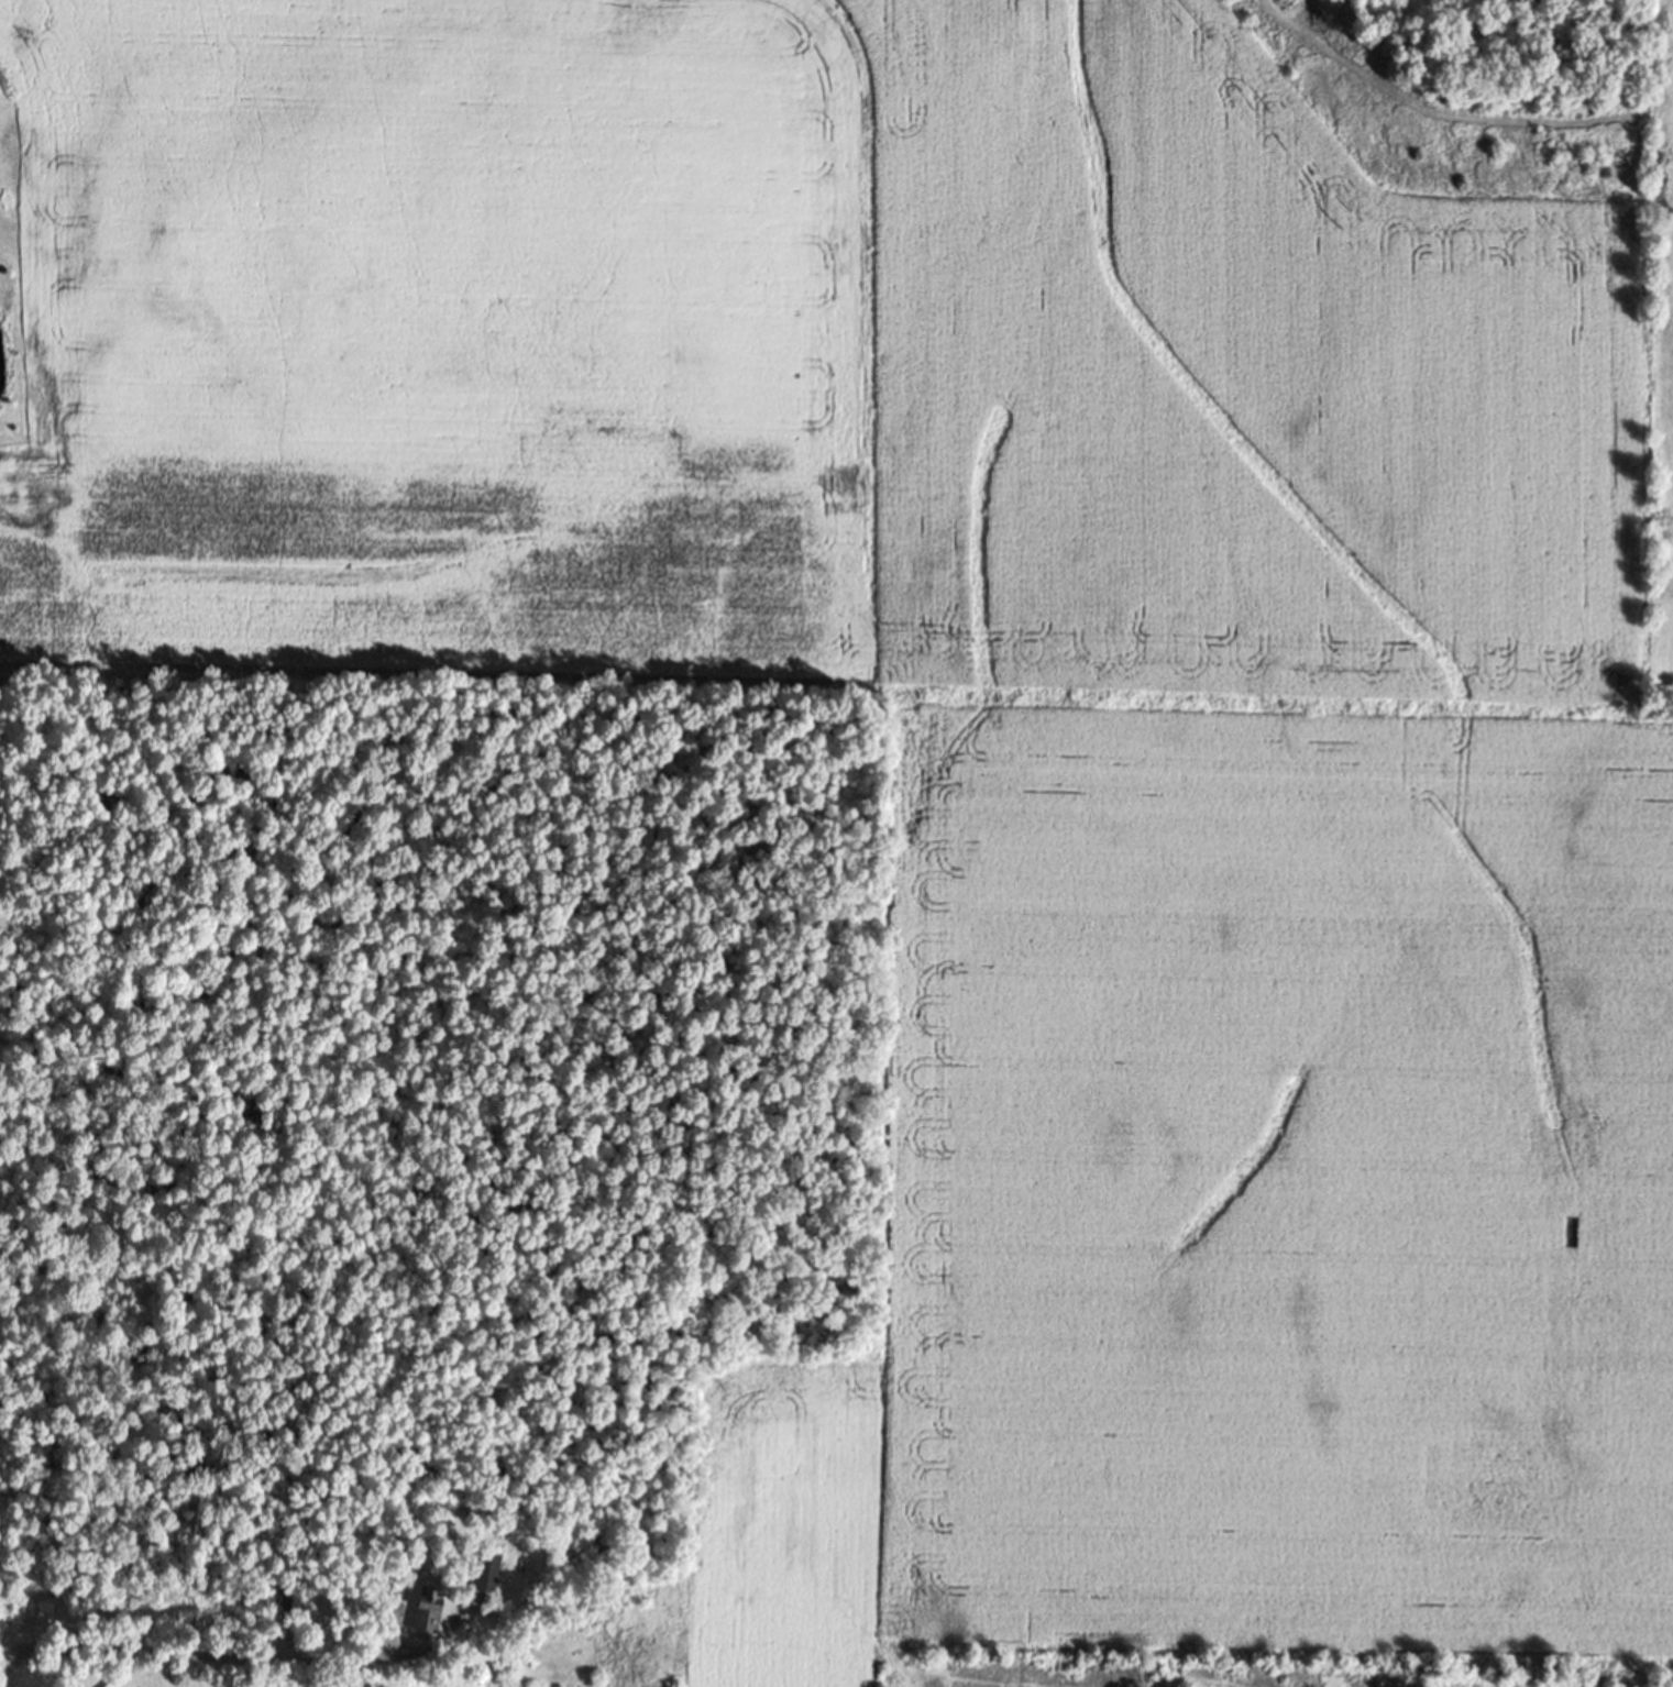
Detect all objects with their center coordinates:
building: (439, 1617)
road: (227, 1654)

